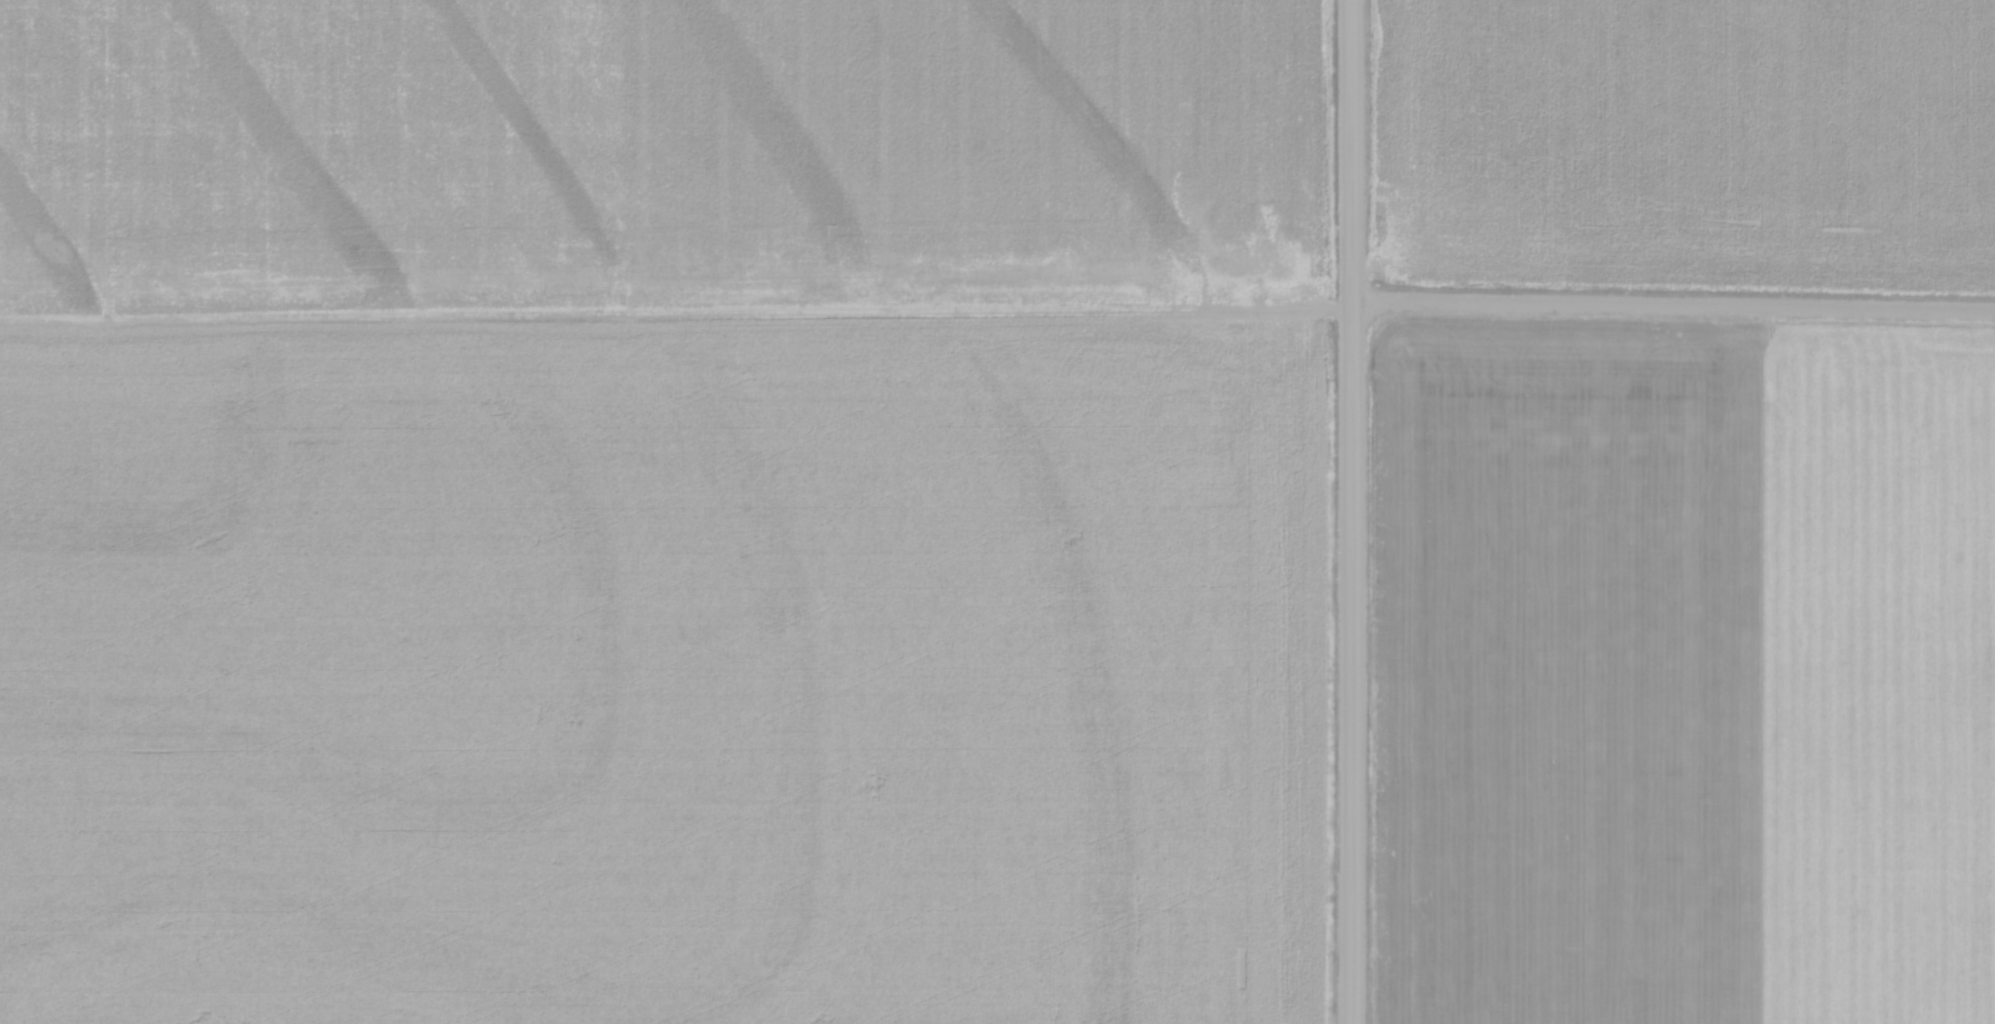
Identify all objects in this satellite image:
road: (1675, 305)
road: (1354, 511)
crop: (1561, 671)
crop: (1874, 675)

